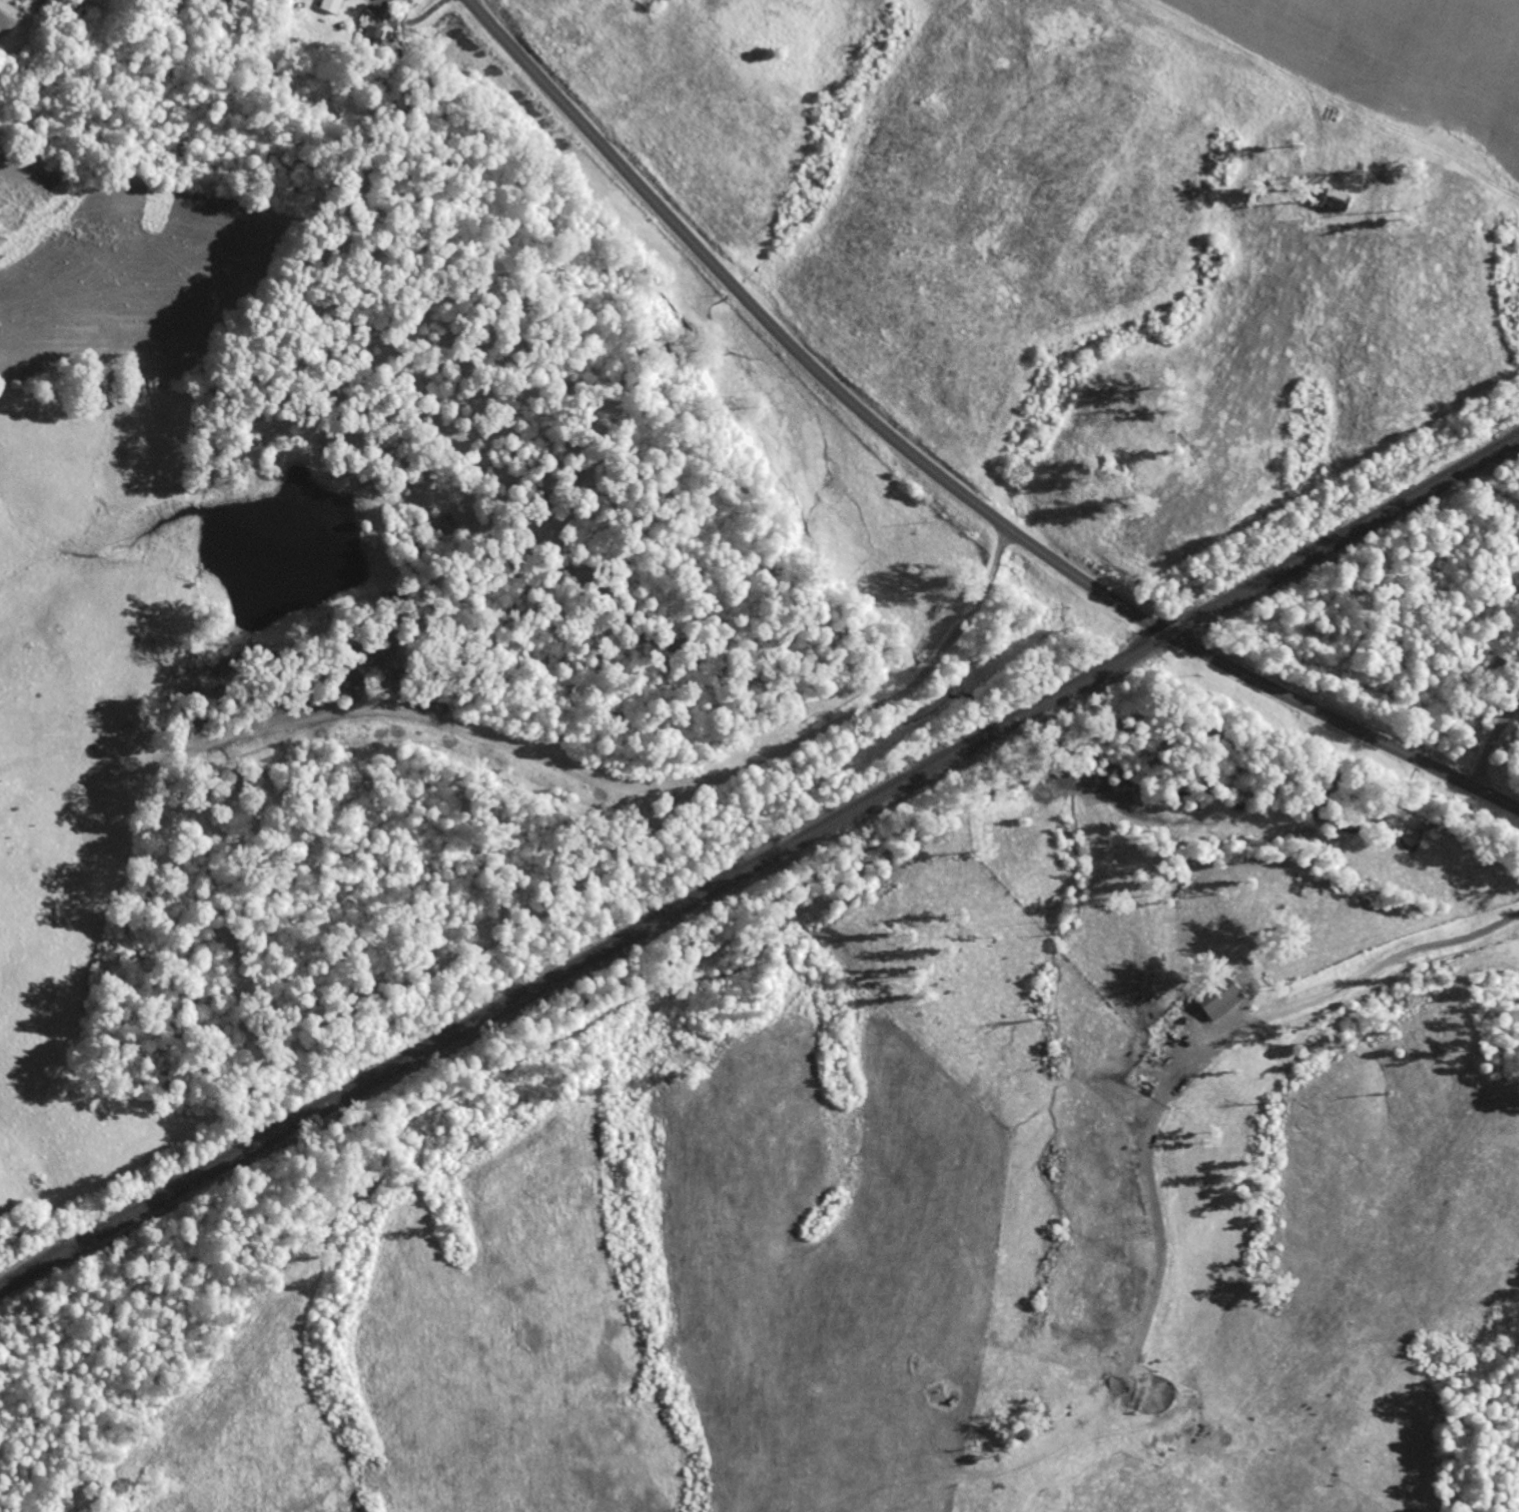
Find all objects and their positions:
building: (330, 4)
building: (1341, 202)
road: (938, 476)
railway: (1349, 531)
road: (987, 587)
railway: (1167, 634)
road: (948, 646)
railway: (577, 964)
road: (1391, 992)

